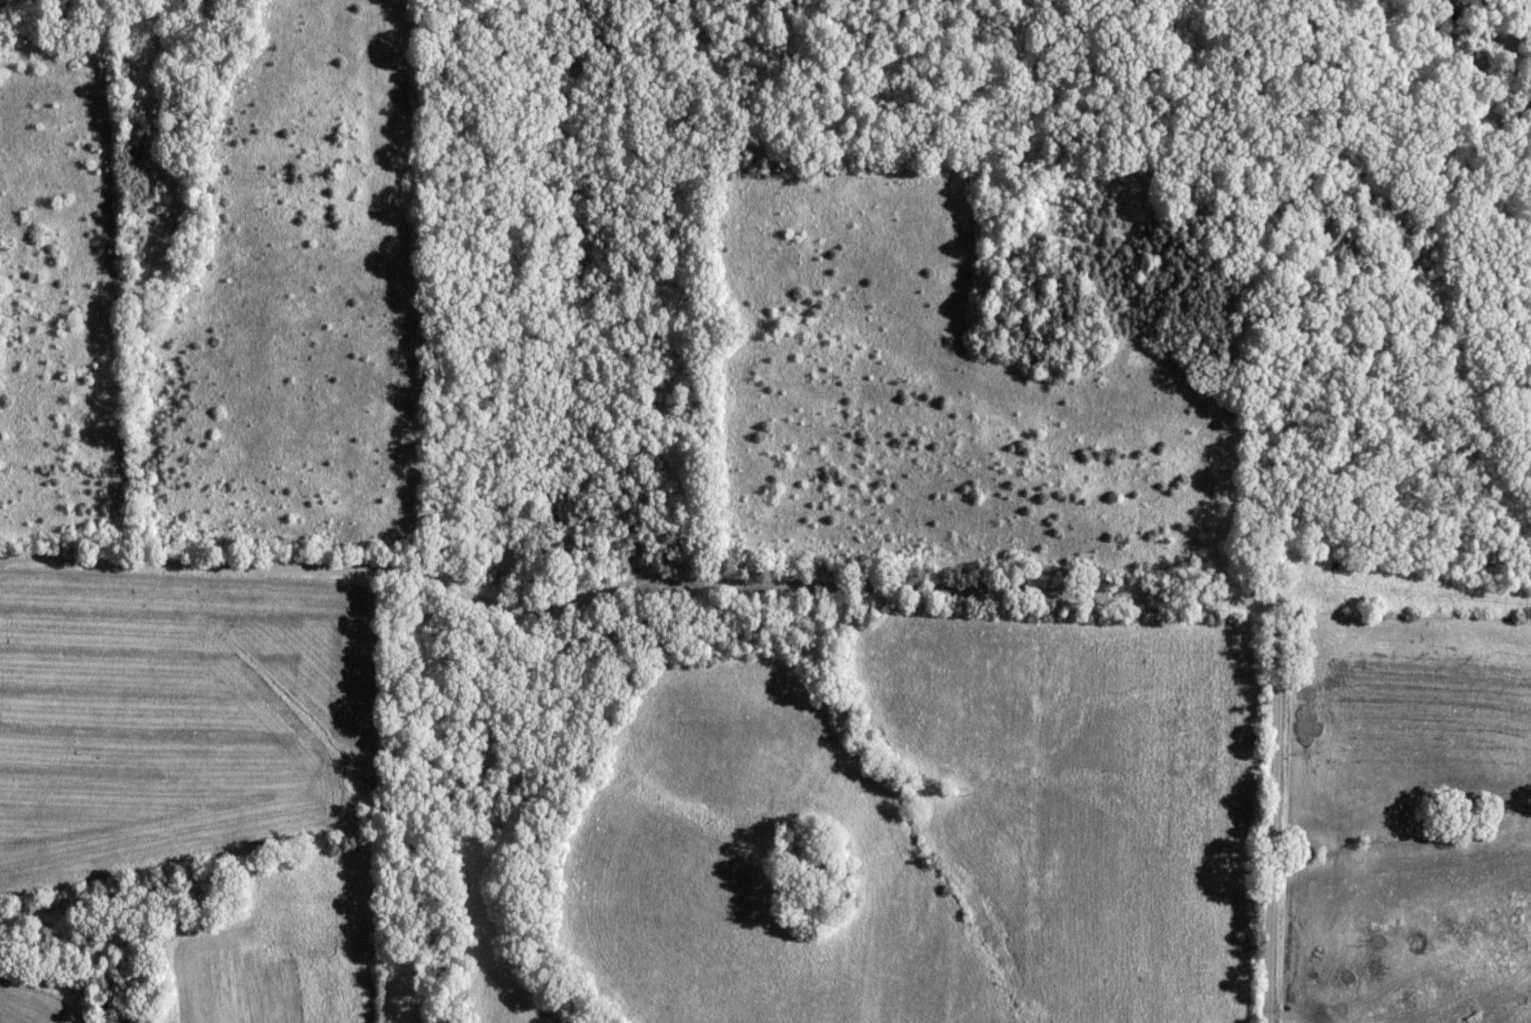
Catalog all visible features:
road: (839, 585)

